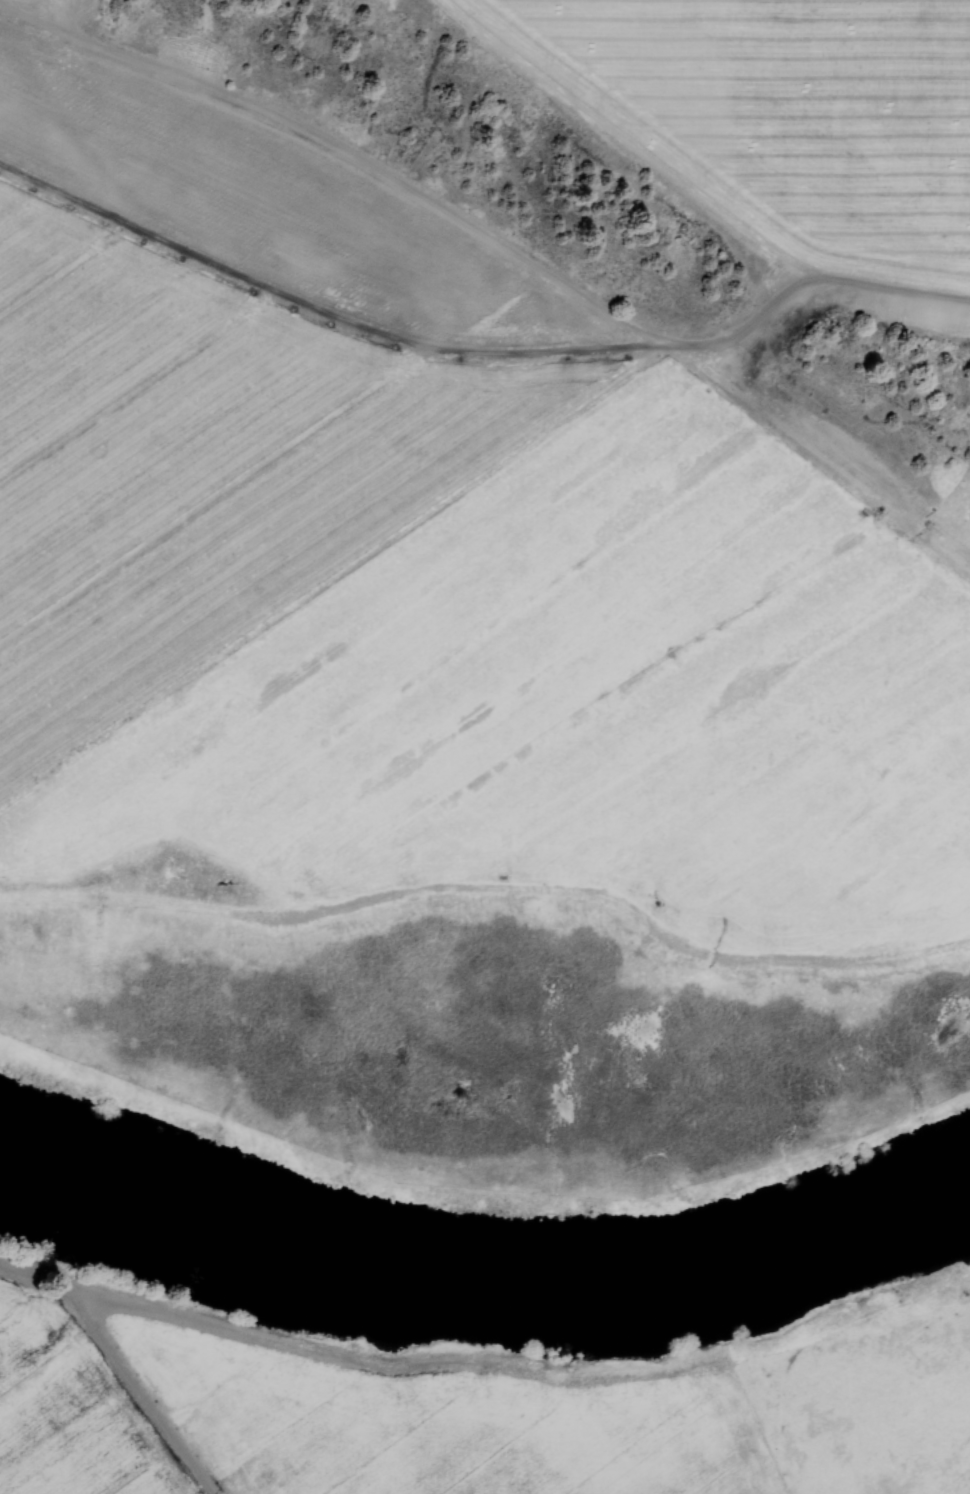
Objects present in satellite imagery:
river: (483, 1287)

